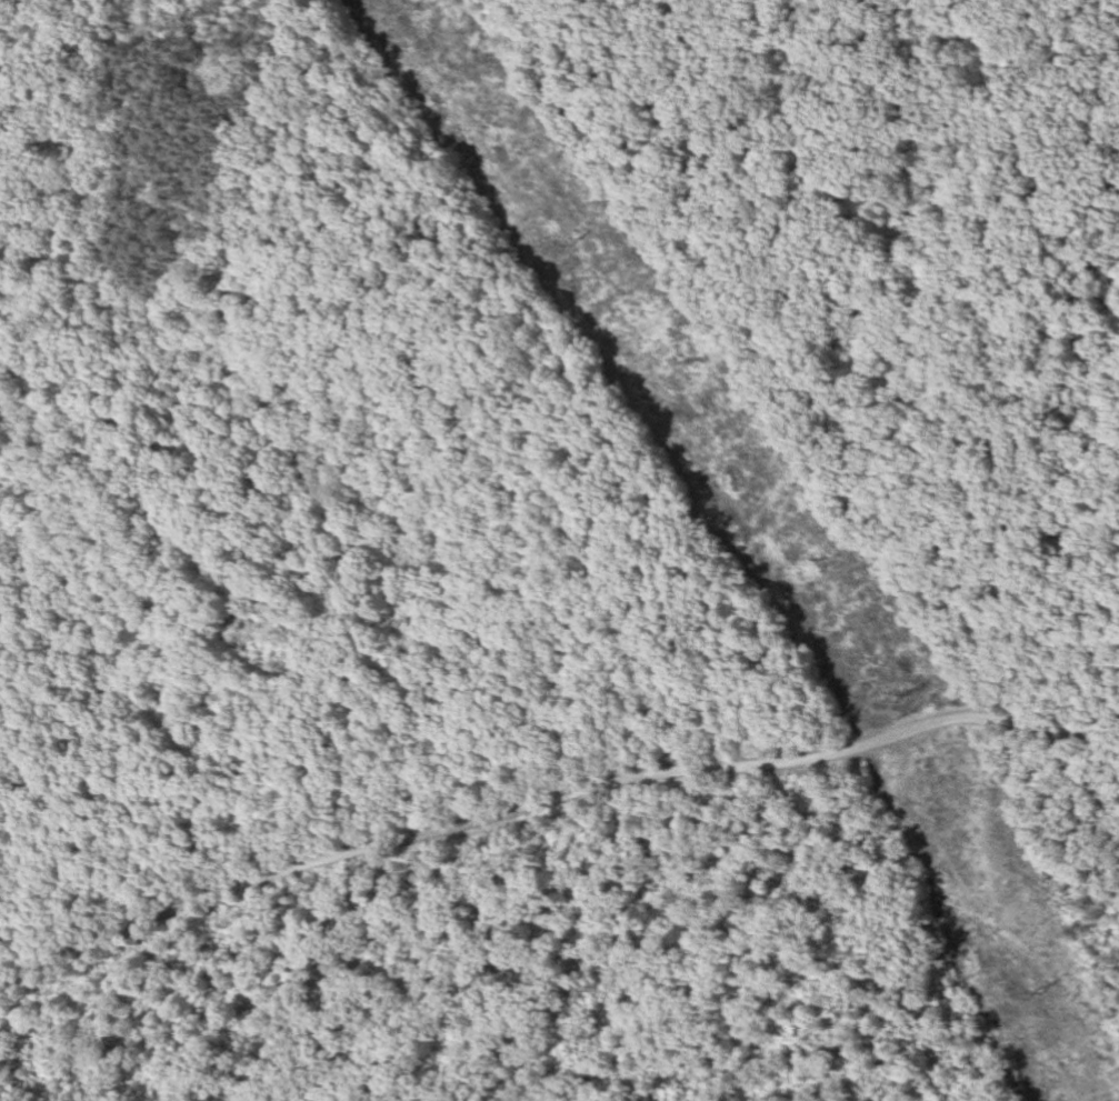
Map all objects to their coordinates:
road: (547, 807)

